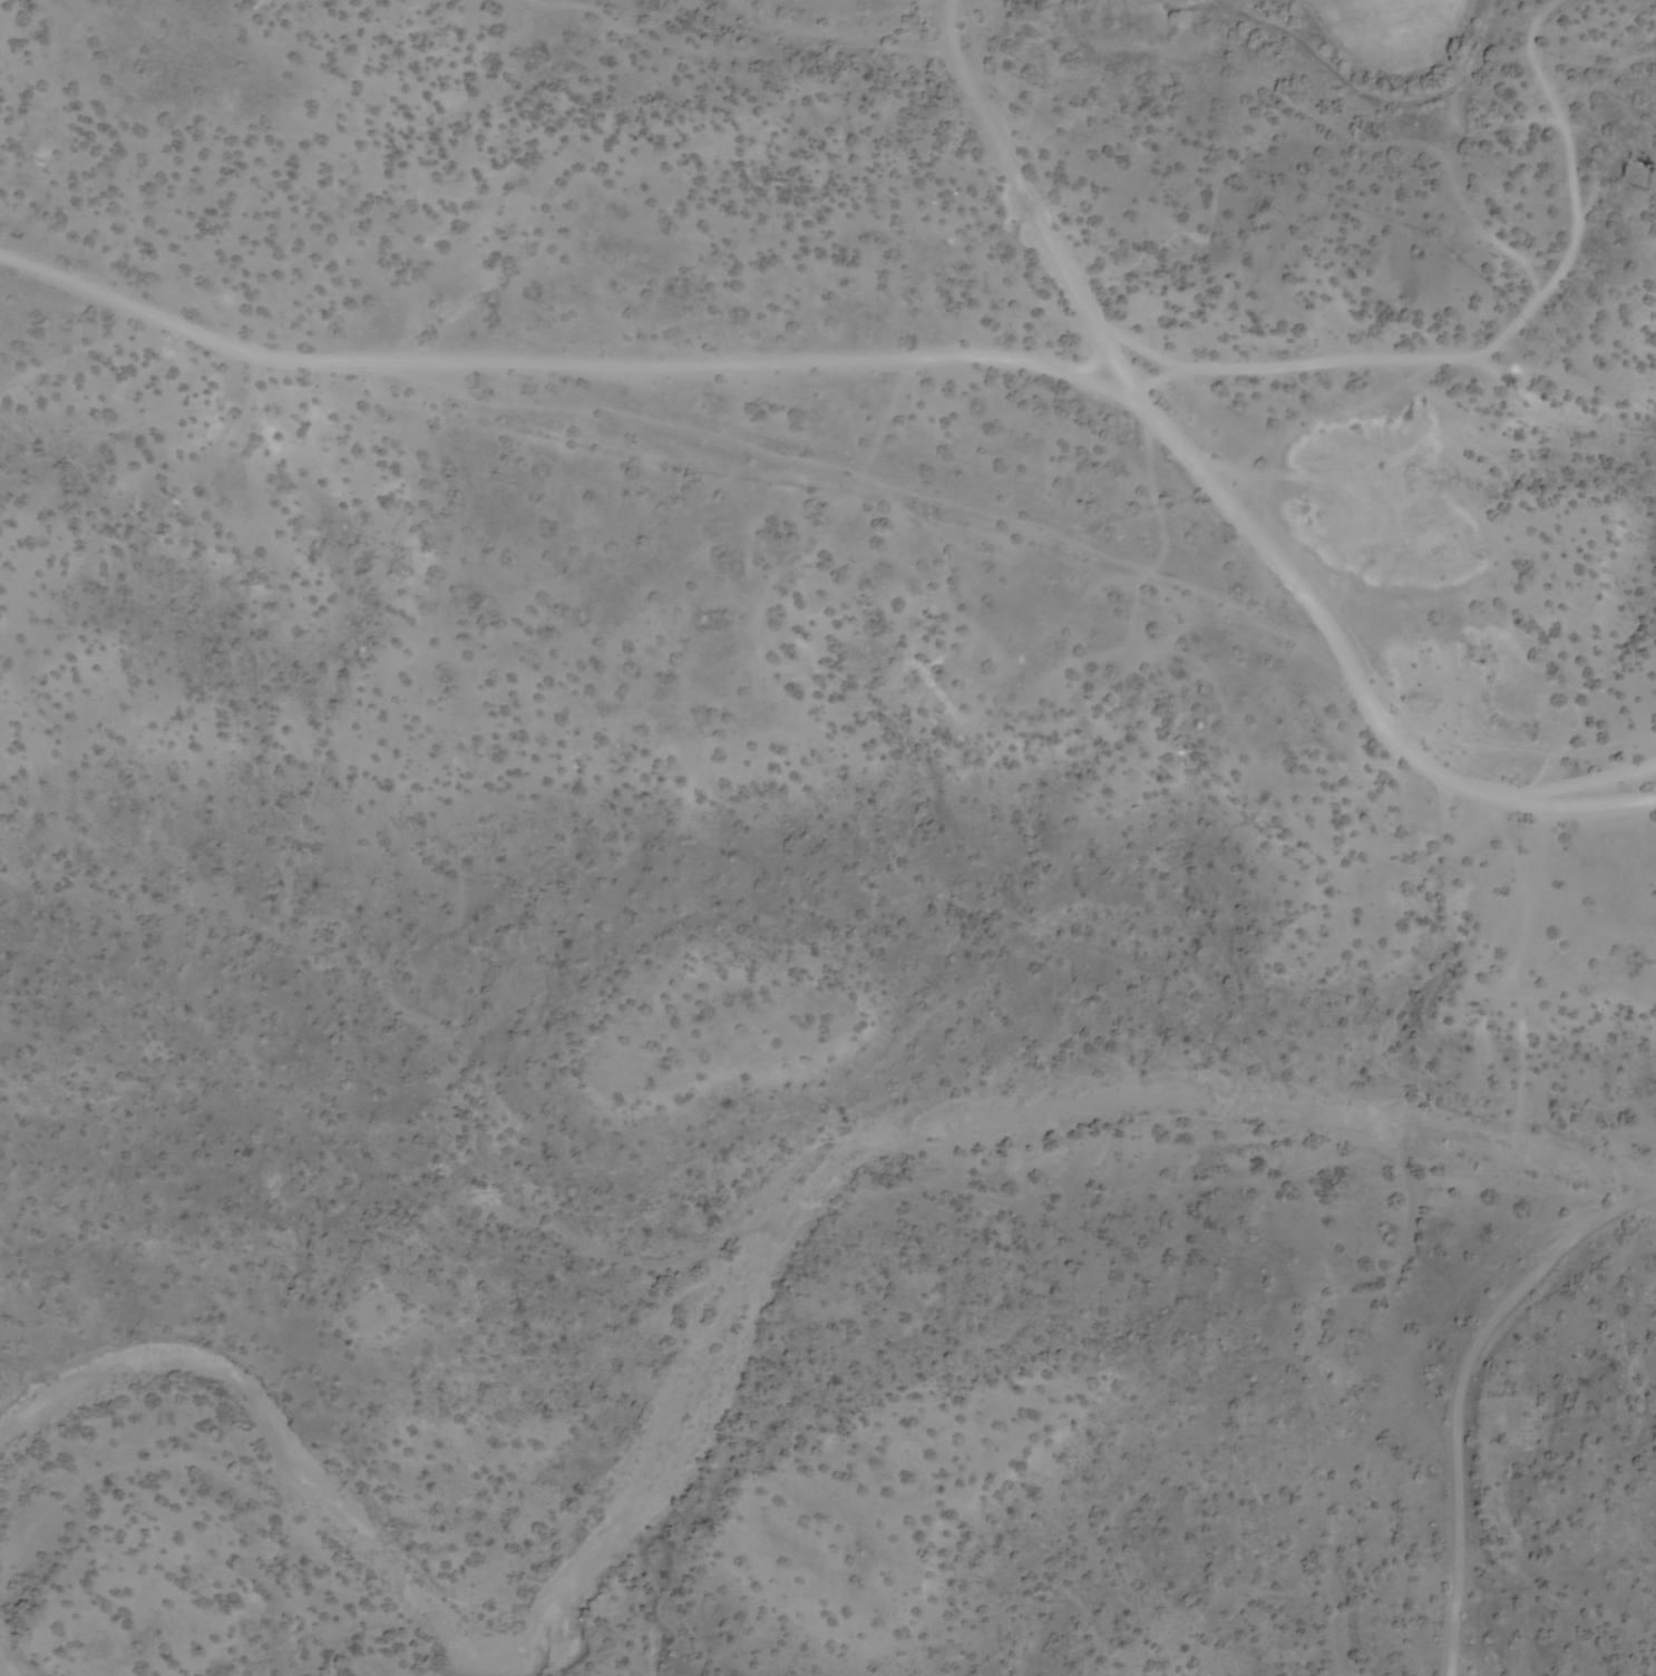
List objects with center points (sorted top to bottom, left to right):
road: (527, 316)
road: (1198, 488)
road: (1475, 1377)

